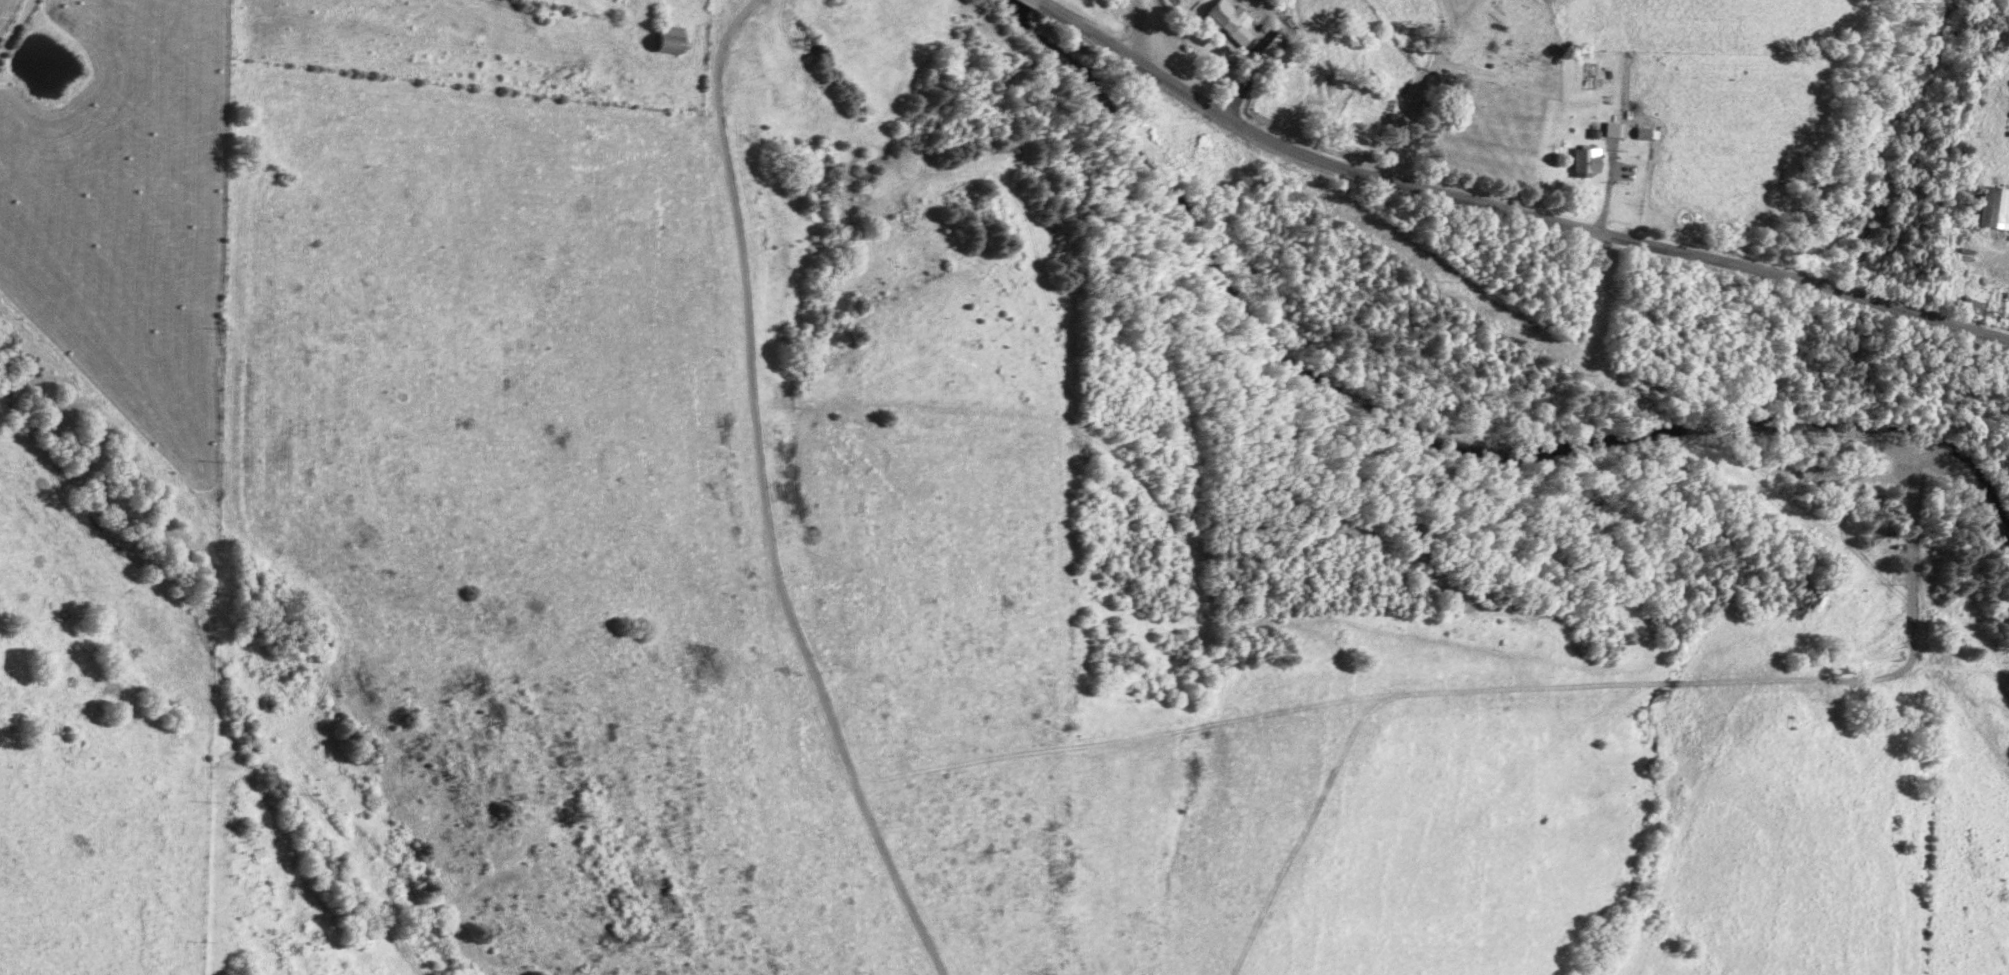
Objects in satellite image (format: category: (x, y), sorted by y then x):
building: (1235, 20)
road: (1131, 25)
road: (734, 27)
building: (674, 39)
road: (1413, 84)
building: (1622, 129)
building: (1648, 132)
building: (1591, 160)
road: (1619, 199)
building: (1997, 207)
road: (1505, 209)

